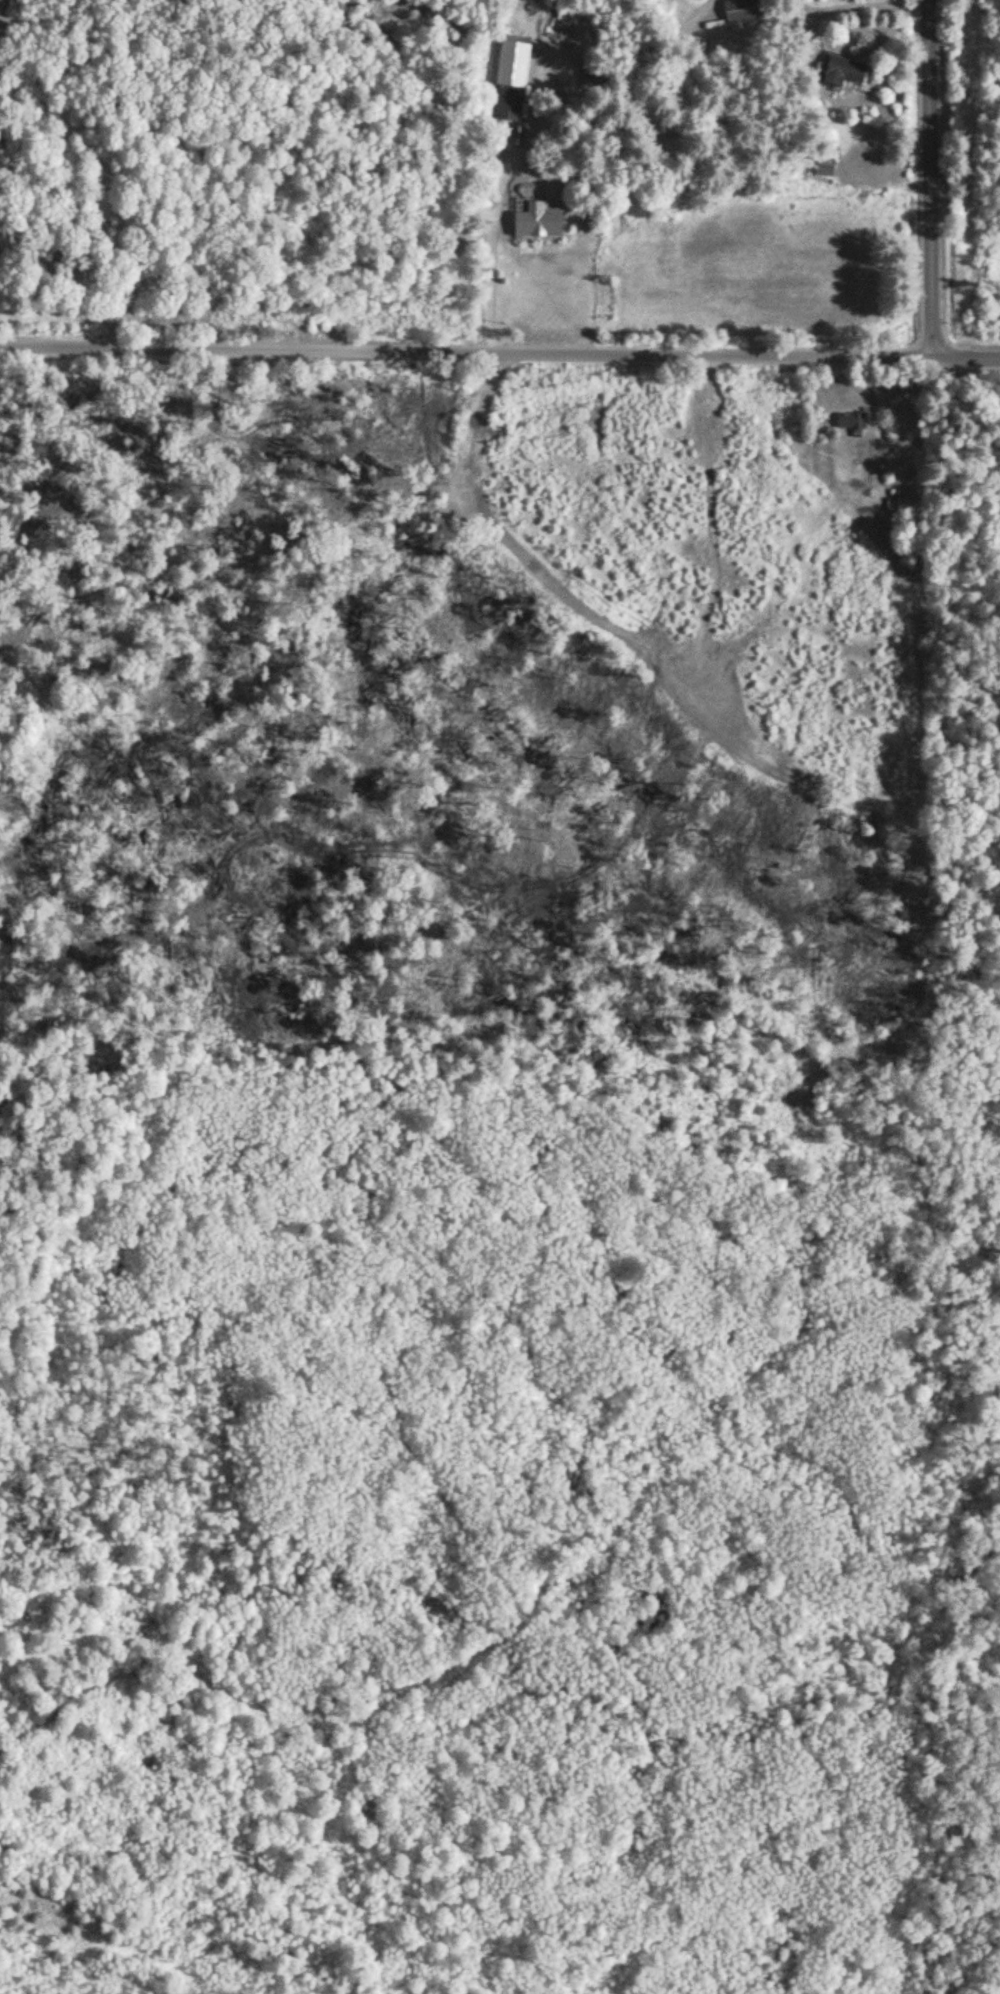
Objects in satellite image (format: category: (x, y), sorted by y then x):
building: (738, 11)
building: (831, 68)
building: (506, 101)
road: (929, 179)
building: (535, 225)
road: (486, 245)
road: (465, 353)
road: (965, 359)
building: (848, 421)
building: (893, 505)

